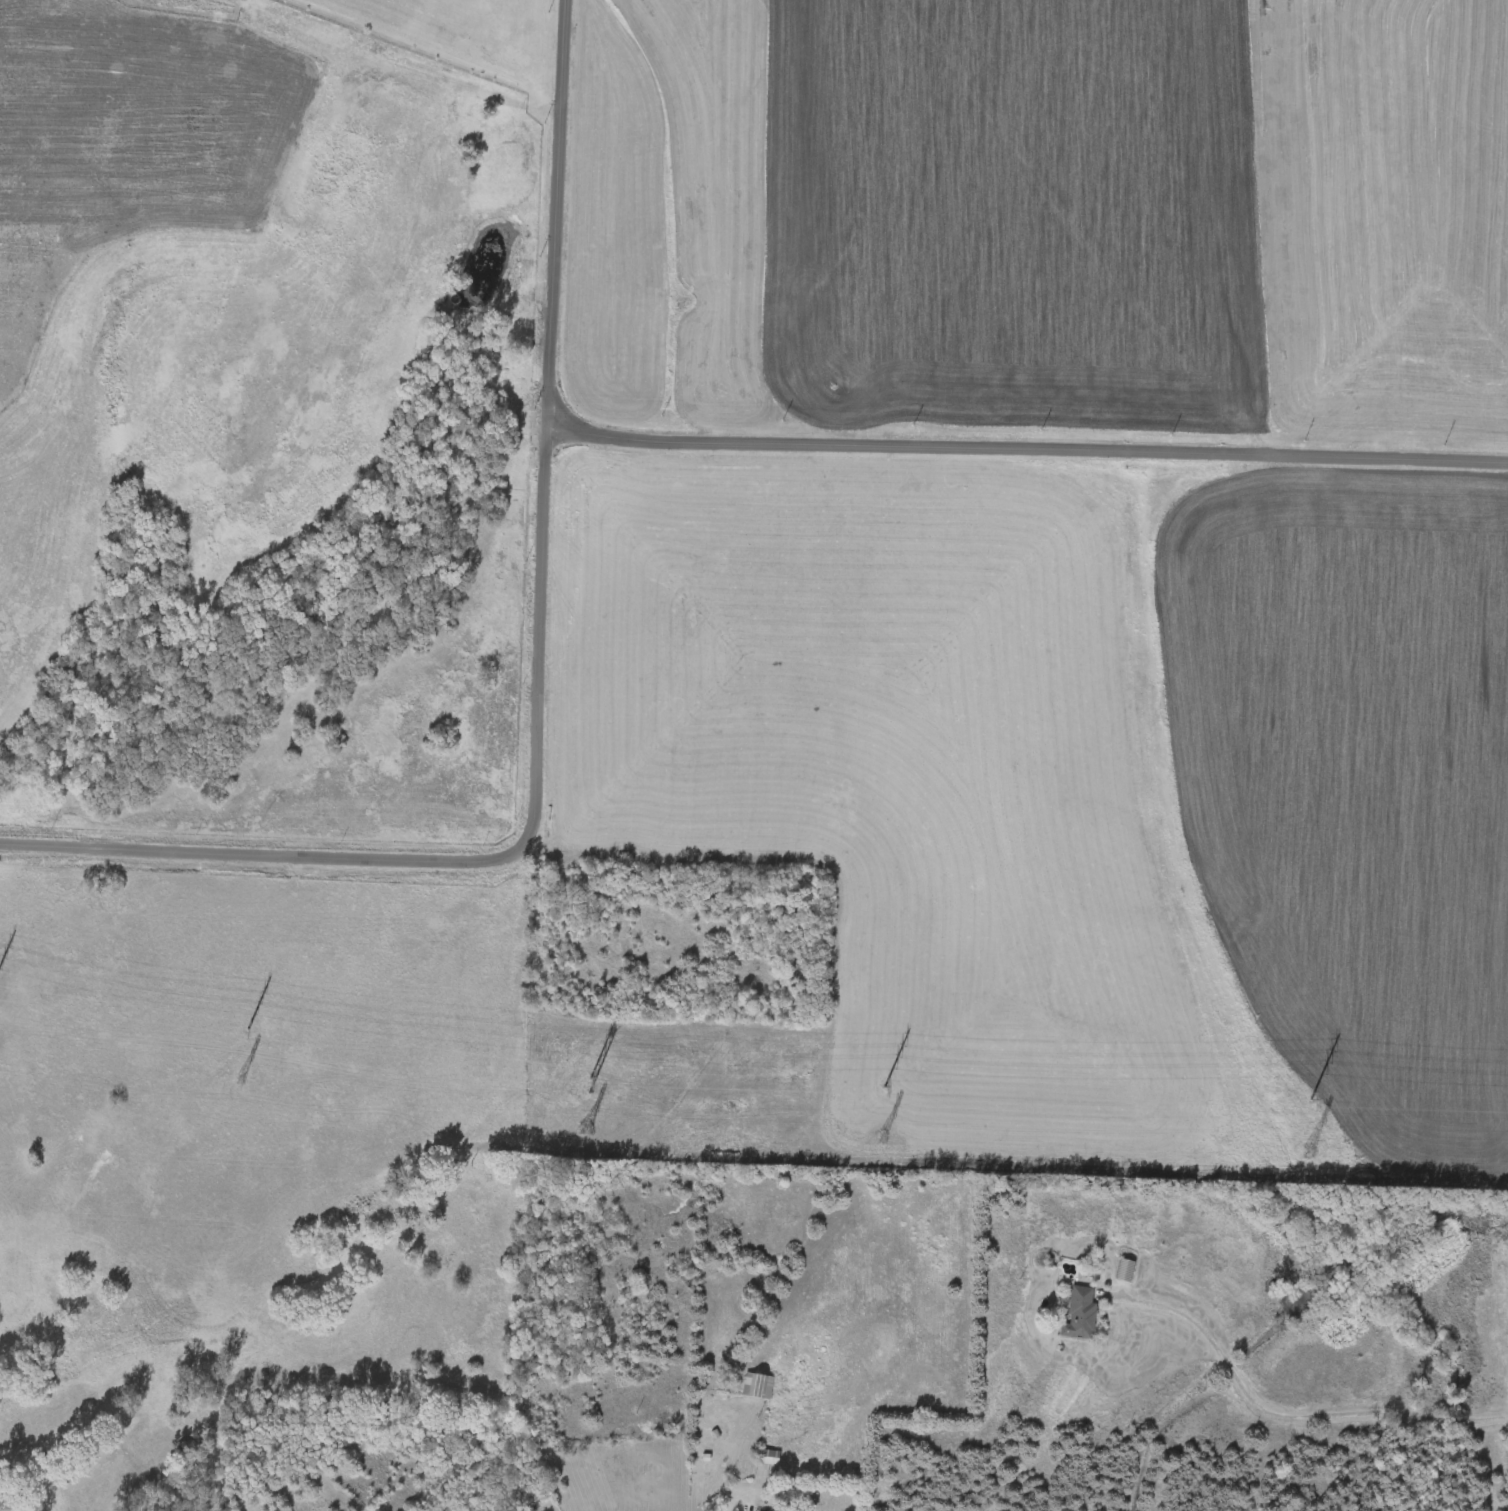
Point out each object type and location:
road: (424, 53)
road: (1015, 451)
road: (538, 689)
power tower: (244, 1031)
power tower: (590, 1079)
power tower: (881, 1087)
power tower: (1306, 1102)
building: (1121, 1271)
building: (1076, 1315)
building: (754, 1388)
road: (1282, 1419)
building: (766, 1458)
road: (739, 1492)

